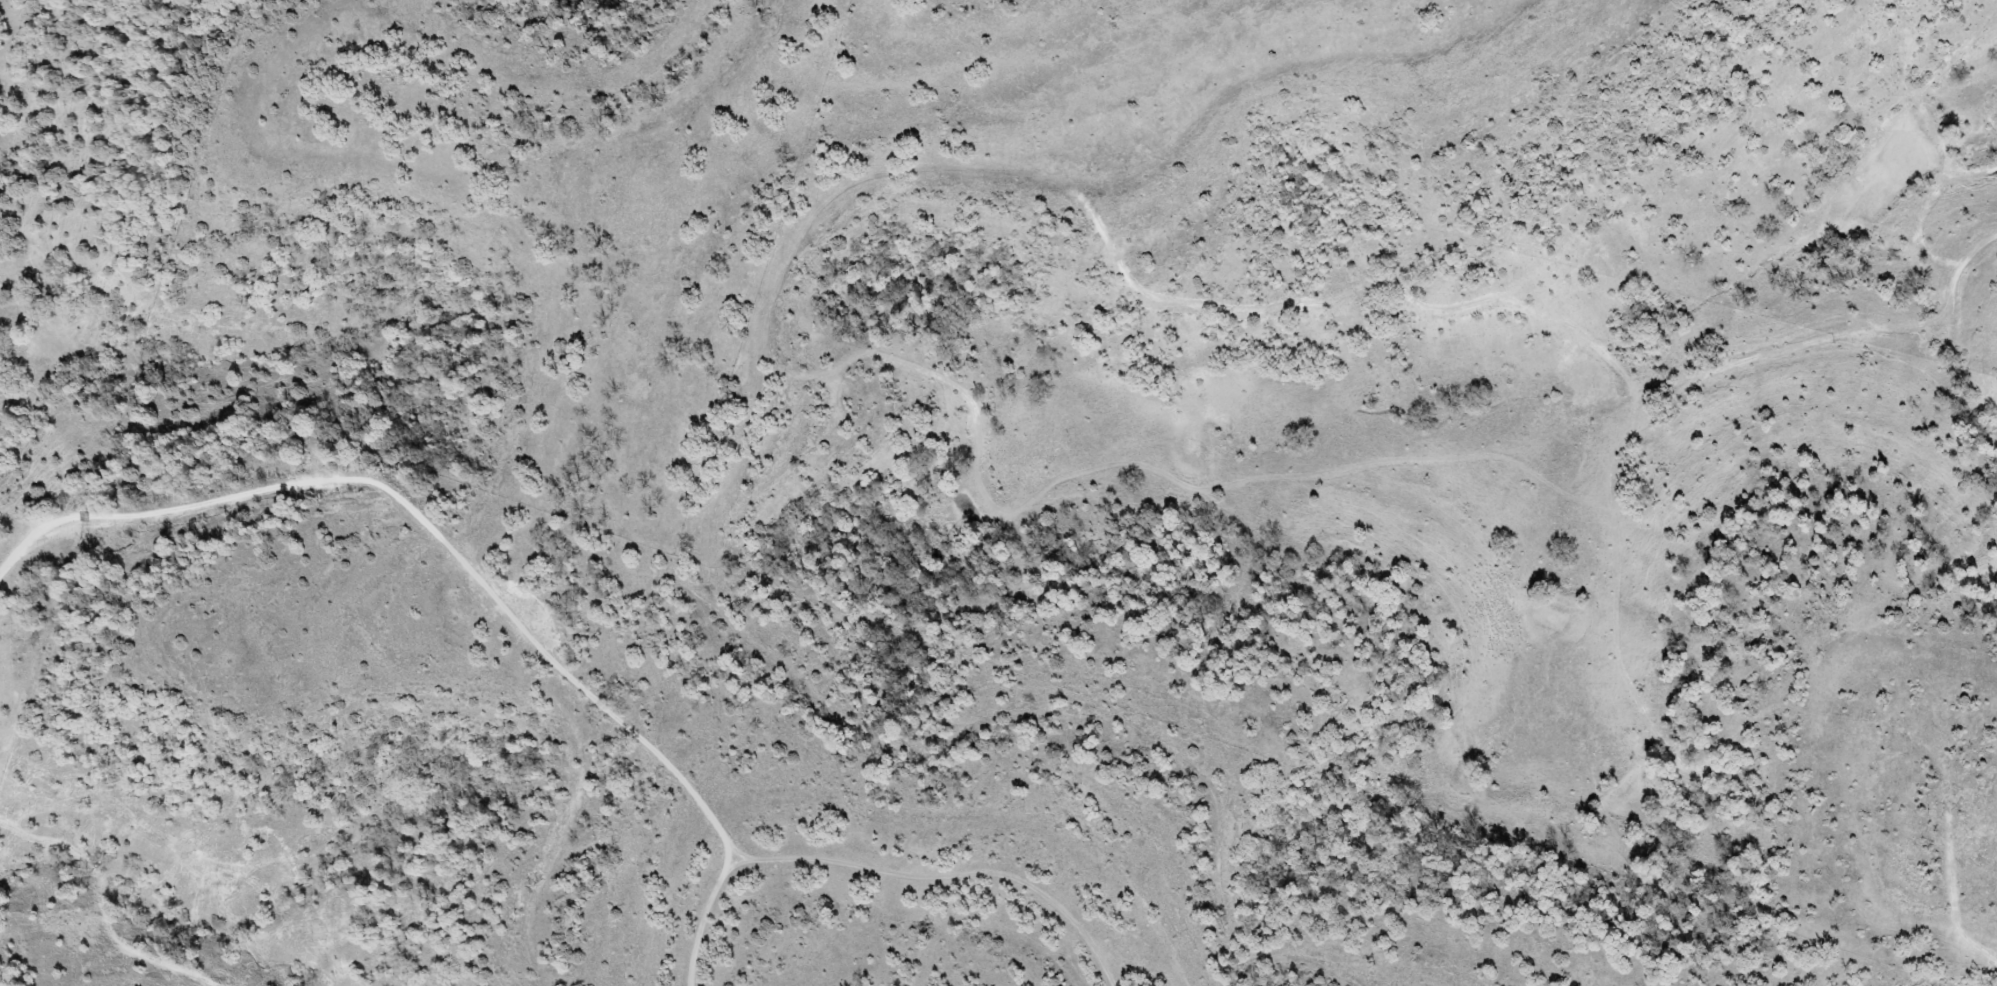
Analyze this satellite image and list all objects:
road: (1075, 511)

